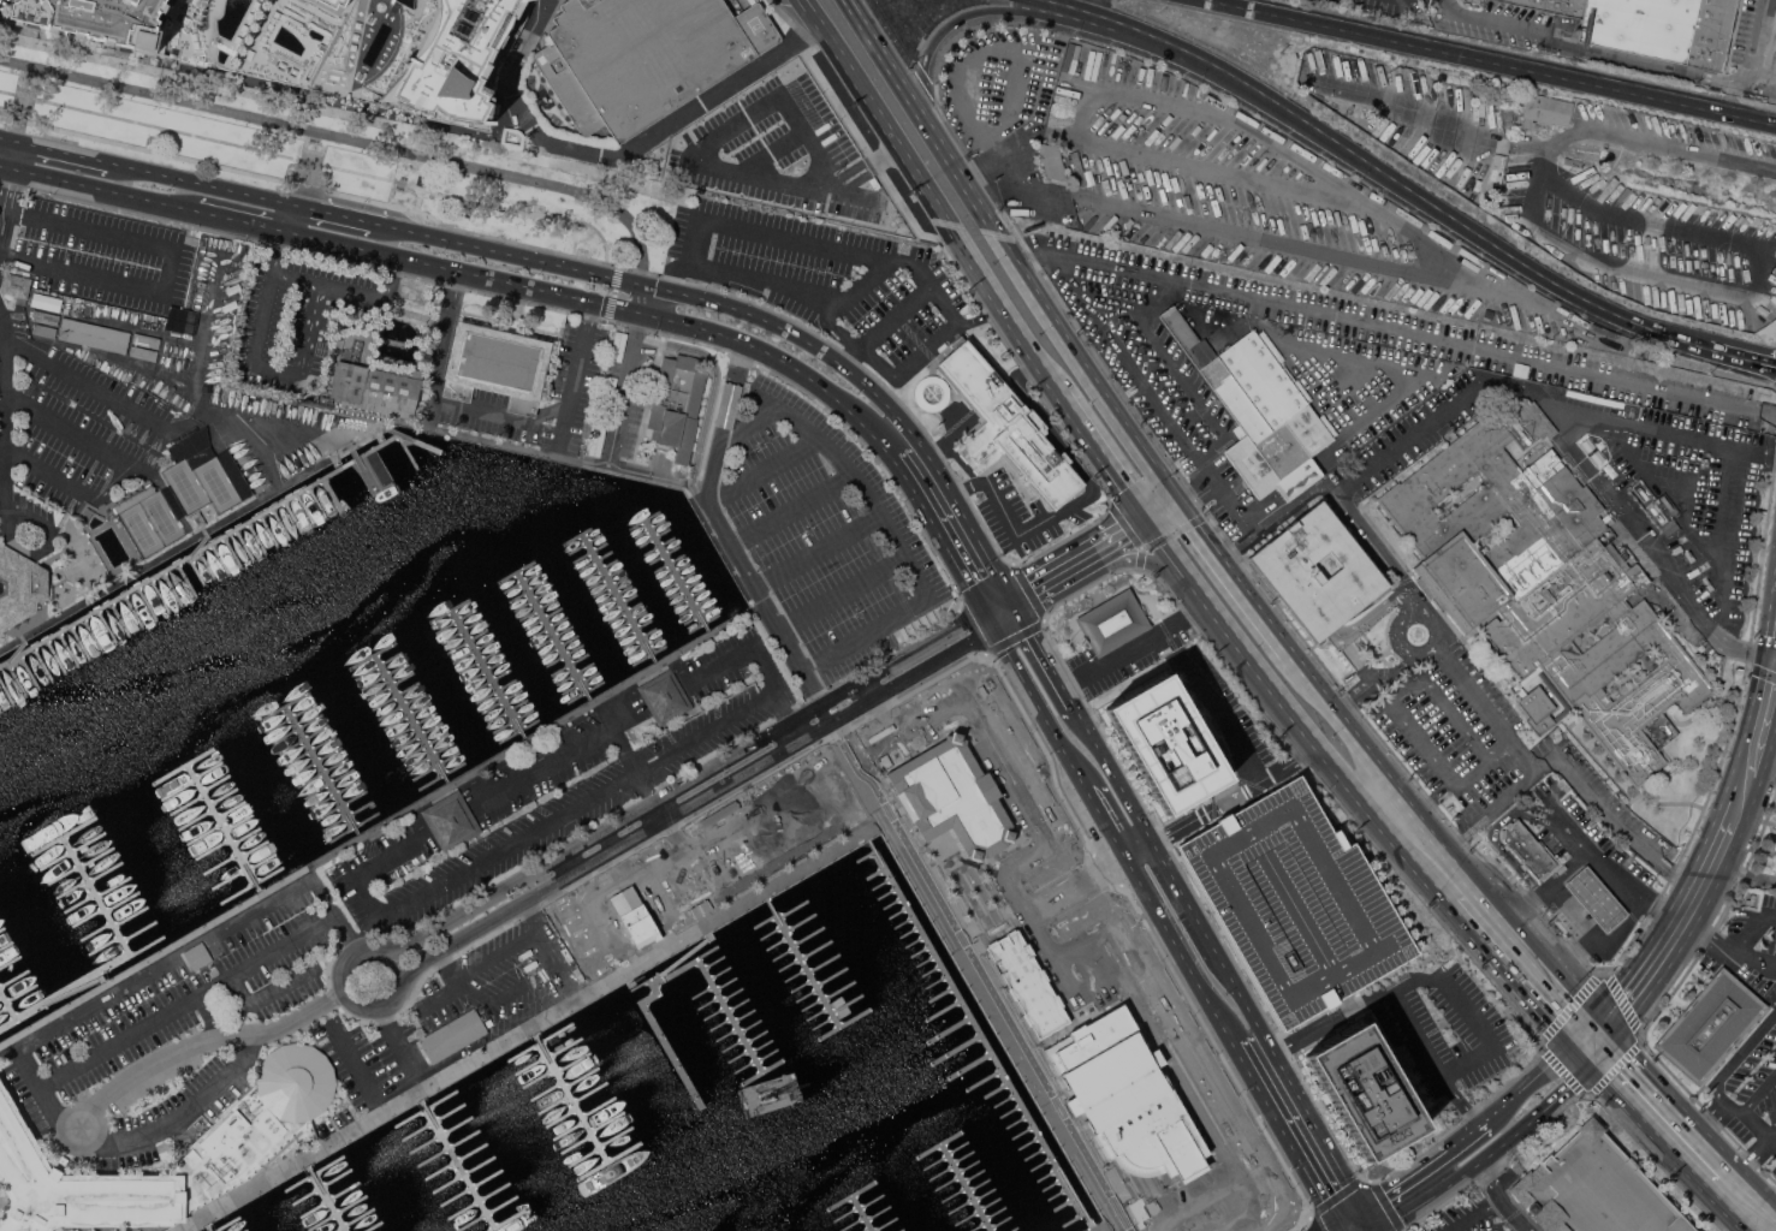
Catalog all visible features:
parking lot: (558, 0)
building: (1557, 5)
building: (328, 10)
road: (963, 16)
building: (91, 20)
building: (1641, 25)
building: (1713, 34)
building: (1775, 48)
parking lot: (1752, 49)
road: (986, 52)
building: (420, 54)
building: (643, 57)
road: (1632, 58)
road: (1490, 64)
road: (1765, 72)
building: (746, 108)
building: (1548, 108)
road: (922, 117)
road: (154, 125)
road: (727, 127)
road: (344, 136)
road: (8, 138)
road: (1543, 144)
park: (309, 150)
road: (64, 151)
road: (772, 151)
road: (13, 154)
road: (617, 156)
road: (536, 160)
building: (1052, 161)
road: (5, 166)
road: (863, 167)
building: (1077, 167)
road: (1373, 167)
road: (274, 177)
road: (198, 182)
road: (920, 183)
road: (7, 185)
road: (100, 189)
road: (848, 195)
road: (417, 198)
road: (1, 202)
road: (475, 202)
road: (1343, 202)
road: (2, 204)
road: (332, 212)
road: (1624, 218)
road: (1, 219)
road: (234, 219)
road: (699, 225)
road: (527, 244)
road: (486, 248)
parking lot: (96, 254)
road: (902, 260)
road: (1034, 260)
road: (435, 263)
road: (168, 266)
road: (630, 268)
road: (670, 269)
road: (641, 276)
road: (618, 278)
parking lot: (827, 283)
traffic signals: (641, 284)
building: (16, 286)
road: (651, 286)
road: (348, 290)
road: (612, 291)
road: (640, 297)
building: (47, 302)
road: (614, 305)
traffic signals: (638, 311)
road: (979, 315)
building: (44, 316)
parking lot: (301, 317)
toll booth: (974, 317)
building: (182, 319)
road: (637, 319)
road: (622, 322)
railway: (1395, 325)
road: (1219, 328)
building: (44, 329)
road: (1404, 331)
building: (94, 334)
road: (842, 334)
road: (204, 335)
road: (184, 338)
road: (801, 338)
building: (147, 339)
road: (441, 344)
building: (143, 351)
road: (256, 353)
parking lot: (1314, 355)
road: (1740, 355)
road: (780, 358)
road: (877, 358)
road: (1361, 359)
building: (495, 364)
road: (1088, 367)
road: (1178, 369)
road: (576, 370)
road: (165, 374)
building: (369, 374)
road: (713, 385)
road: (1344, 386)
road: (1526, 386)
road: (1151, 391)
road: (622, 392)
building: (931, 392)
road: (102, 393)
parking lot: (548, 394)
parking lot: (622, 402)
building: (677, 403)
building: (1260, 409)
road: (1769, 415)
road: (501, 417)
road: (748, 420)
road: (723, 422)
road: (274, 426)
building: (1008, 428)
parking lot: (1422, 428)
road: (72, 432)
parking lot: (69, 436)
pier: (411, 439)
road: (1408, 441)
road: (1091, 446)
pier: (409, 451)
road: (1729, 454)
road: (1, 456)
pier: (363, 468)
road: (2, 469)
road: (642, 469)
road: (765, 470)
road: (48, 474)
road: (687, 478)
park: (185, 486)
park: (214, 486)
road: (1199, 489)
pier: (334, 495)
road: (1105, 495)
building: (135, 498)
traffic signals: (1182, 499)
pier: (319, 502)
road: (1076, 502)
parking lot: (1671, 505)
road: (792, 507)
pier: (307, 509)
road: (1163, 511)
pier: (295, 516)
building: (197, 518)
pier: (643, 518)
road: (1278, 519)
pier: (283, 523)
road: (956, 523)
traffic signals: (1145, 524)
park: (149, 525)
pier: (648, 527)
pier: (269, 530)
parking lot: (825, 533)
pier: (576, 535)
road: (1125, 535)
pier: (653, 536)
road: (1154, 536)
pier: (257, 537)
pier: (202, 542)
pier: (584, 542)
road: (901, 543)
pier: (245, 545)
pier: (658, 545)
road: (818, 548)
pier: (198, 551)
pier: (589, 551)
road: (1659, 551)
pier: (233, 552)
pier: (664, 552)
road: (164, 557)
road: (1135, 557)
pier: (221, 559)
pier: (594, 559)
pier: (667, 561)
pier: (207, 564)
pier: (600, 567)
road: (1391, 567)
pier: (197, 570)
pier: (673, 570)
pier: (515, 571)
building: (1317, 571)
pier: (604, 576)
pier: (676, 576)
road: (1055, 576)
pier: (678, 578)
pier: (188, 579)
pier: (521, 579)
building: (1543, 581)
pier: (608, 584)
building: (20, 585)
pier: (173, 588)
pier: (683, 588)
pier: (525, 590)
road: (842, 590)
pier: (613, 593)
road: (756, 593)
pier: (688, 595)
pier: (161, 596)
road: (1254, 596)
pier: (531, 597)
pier: (618, 599)
pier: (148, 602)
pier: (620, 602)
pier: (694, 605)
road: (48, 606)
pier: (536, 606)
pier: (449, 609)
pier: (623, 609)
traffic signals: (1003, 609)
pier: (135, 611)
pier: (697, 612)
pier: (542, 617)
pier: (121, 618)
pier: (630, 618)
pier: (455, 619)
pier: (702, 622)
building: (1112, 622)
pier: (547, 625)
road: (1398, 625)
pier: (107, 628)
pier: (634, 628)
pier: (461, 629)
pier: (94, 635)
pier: (552, 636)
pier: (553, 636)
pier: (638, 636)
pier: (467, 637)
pier: (82, 642)
pier: (558, 644)
pier: (643, 644)
pier: (473, 648)
pier: (70, 649)
pier: (16, 650)
road: (1129, 650)
pier: (563, 653)
pier: (648, 653)
road: (910, 653)
road: (1775, 653)
pier: (372, 654)
pier: (58, 656)
pier: (479, 658)
pier: (568, 661)
road: (1775, 661)
pier: (44, 664)
pier: (378, 664)
road: (1449, 667)
pier: (483, 668)
road: (920, 670)
pier: (574, 671)
pier: (30, 672)
pier: (487, 672)
pier: (382, 673)
pier: (18, 679)
pier: (489, 679)
road: (1045, 680)
building: (1525, 680)
pier: (578, 682)
pier: (388, 684)
pier: (497, 689)
pier: (7, 690)
pier: (584, 690)
pier: (394, 694)
building: (665, 695)
pier: (501, 698)
road: (1281, 703)
building: (1536, 703)
pier: (284, 704)
pier: (400, 704)
road: (822, 707)
pier: (1, 709)
pier: (505, 709)
pier: (405, 714)
road: (979, 715)
road: (1224, 715)
road: (1400, 715)
pier: (290, 716)
pier: (410, 718)
pier: (511, 719)
road: (786, 719)
pier: (411, 724)
pier: (296, 727)
pier: (517, 729)
pier: (417, 735)
pier: (302, 738)
road: (596, 738)
building: (1165, 743)
pier: (422, 744)
road: (1754, 744)
pier: (309, 748)
parking lot: (1492, 751)
pier: (428, 754)
pier: (200, 755)
pier: (315, 759)
pier: (434, 763)
pier: (320, 769)
pier: (321, 769)
pier: (440, 773)
pier: (327, 781)
parking lot: (562, 786)
pier: (334, 791)
road: (1123, 791)
road: (1234, 793)
pier: (339, 803)
building: (951, 803)
road: (1101, 804)
road: (1491, 805)
pier: (213, 809)
road: (572, 813)
pier: (346, 814)
road: (1614, 816)
building: (451, 820)
road: (822, 823)
pier: (79, 825)
pier: (352, 826)
road: (1569, 828)
road: (1493, 829)
road: (1141, 848)
building: (1526, 848)
building: (1772, 856)
road: (1578, 858)
road: (1712, 858)
road: (1467, 861)
road: (1741, 875)
pier: (87, 878)
road: (1088, 878)
building: (1594, 897)
gas station: (1594, 897)
building: (1296, 902)
parking lot: (1296, 902)
road: (1688, 908)
road: (1569, 910)
road: (1662, 910)
pier: (1, 926)
road: (1169, 926)
road: (1750, 933)
road: (1703, 939)
pier: (5, 944)
road: (1604, 947)
road: (1485, 950)
pier: (131, 951)
road: (552, 952)
road: (497, 953)
building: (197, 955)
road: (154, 957)
road: (1751, 959)
pier: (8, 961)
road: (1645, 974)
road: (973, 976)
pier: (13, 977)
pier: (807, 985)
pier: (76, 987)
building: (1023, 988)
road: (451, 989)
road: (507, 991)
pier: (1, 992)
pier: (22, 993)
road: (267, 993)
pier: (1, 994)
road: (345, 997)
pier: (51, 998)
pier: (5, 999)
road: (186, 1000)
parking lot: (177, 1001)
road: (1461, 1003)
pier: (4, 1007)
pier: (642, 1010)
pier: (720, 1011)
pier: (12, 1012)
road: (1219, 1022)
traffic signals: (1610, 1024)
parking lot: (450, 1025)
road: (1257, 1025)
building: (1710, 1025)
road: (1588, 1034)
building: (453, 1035)
pier: (976, 1036)
pier: (822, 1037)
road: (201, 1040)
traffic signals: (1567, 1045)
road: (1598, 1046)
road: (1745, 1051)
road: (1576, 1057)
road: (467, 1061)
road: (1189, 1065)
road: (357, 1066)
traffic signals: (1587, 1069)
pier: (747, 1083)
road: (1528, 1083)
building: (1362, 1092)
road: (1758, 1093)
building: (1119, 1095)
pier: (570, 1100)
road: (1461, 1102)
parking lot: (167, 1105)
road: (179, 1114)
road: (374, 1114)
road: (1745, 1117)
road: (1687, 1118)
road: (1719, 1120)
road: (344, 1124)
road: (1284, 1134)
building: (245, 1135)
road: (1772, 1137)
road: (1663, 1149)
road: (1756, 1156)
road: (1487, 1158)
pier: (456, 1167)
road: (1428, 1167)
pier: (966, 1188)
building: (1593, 1189)
parking lot: (1573, 1193)
road: (1503, 1197)
pier: (321, 1200)
road: (1187, 1205)
road: (1775, 1205)
traffic signals: (1364, 1209)
road: (1478, 1214)
pier: (857, 1215)
road: (1350, 1217)
road: (1370, 1220)
traffic signals: (1337, 1225)
road: (1331, 1227)
road: (1338, 1227)
pier: (204, 1229)

